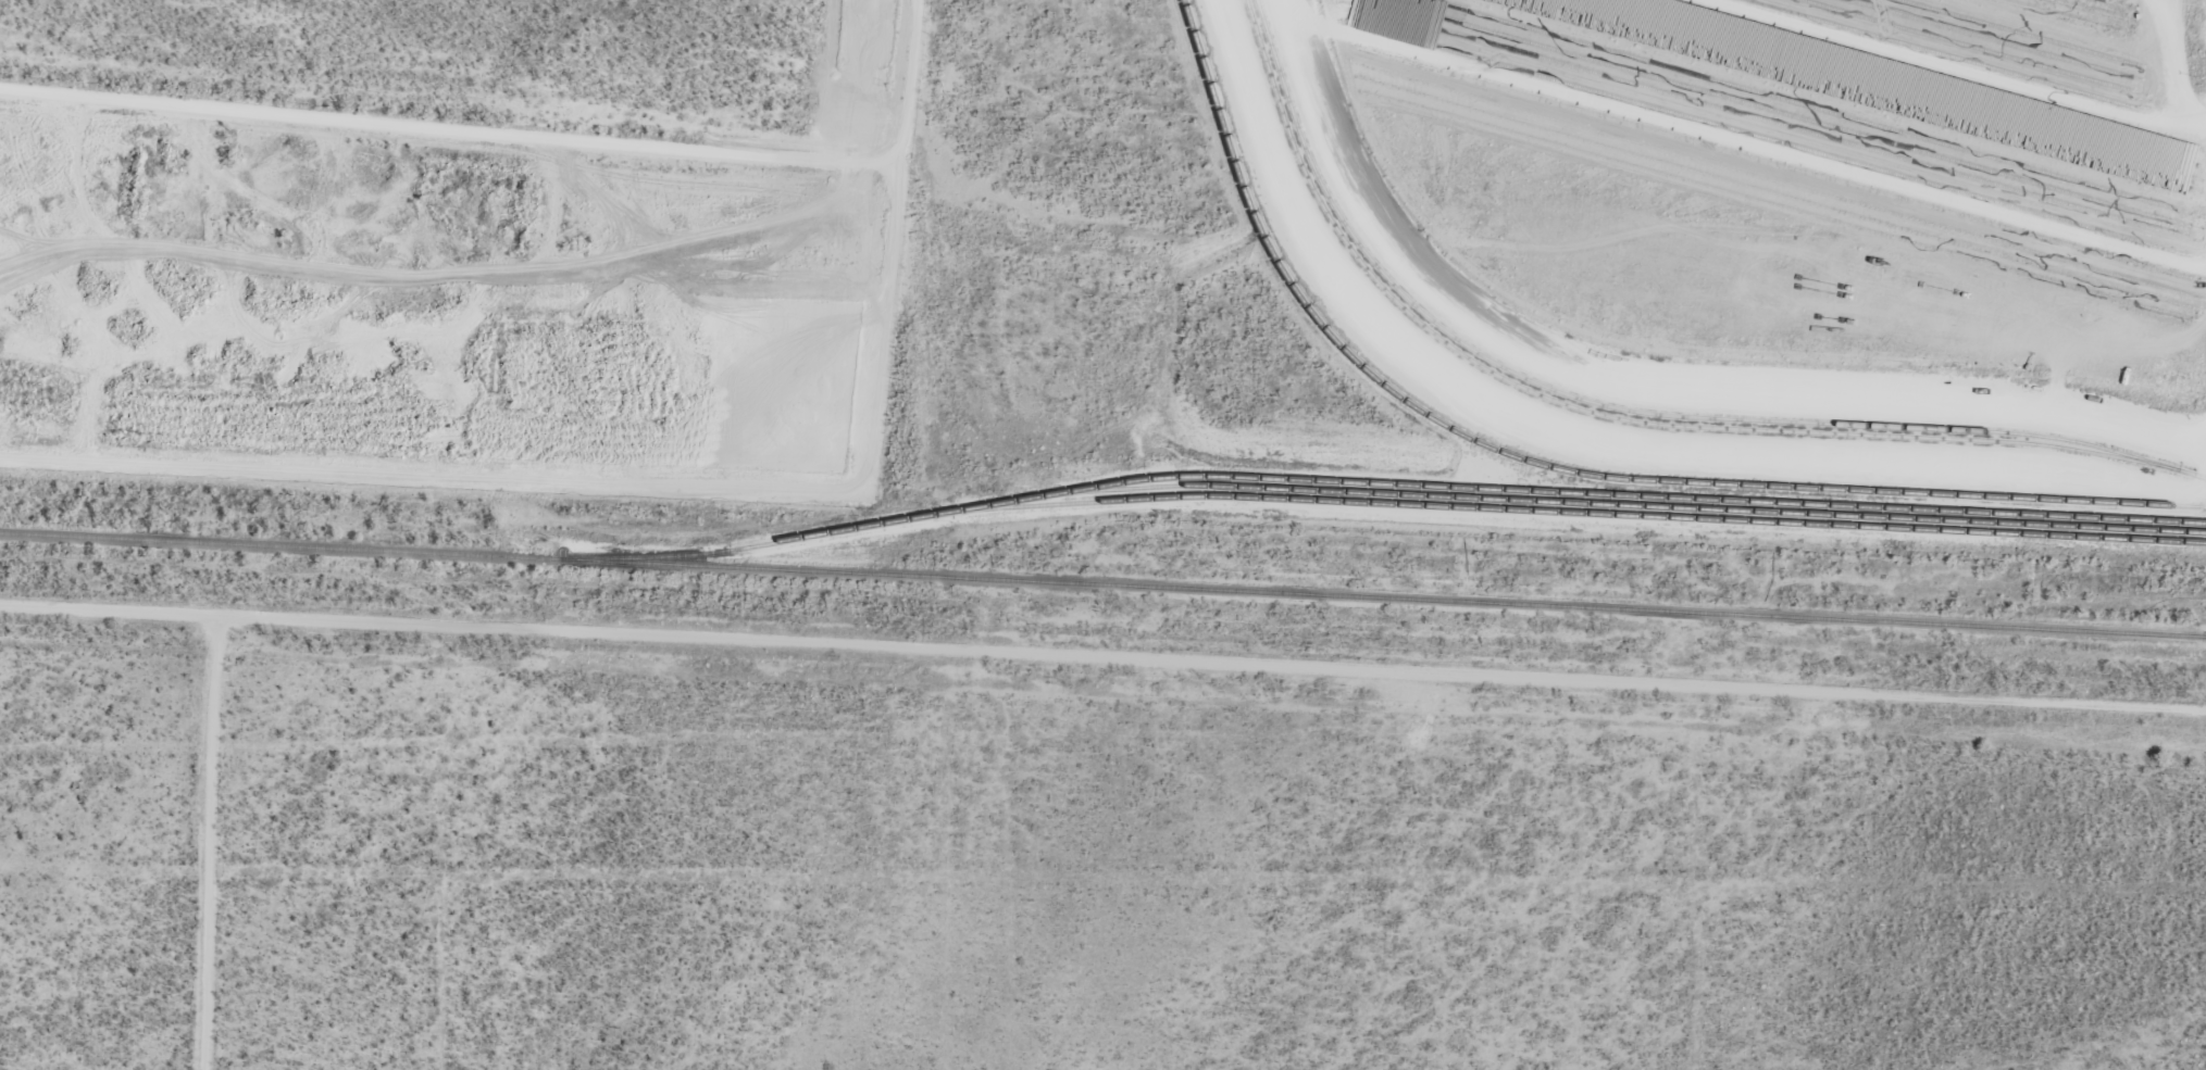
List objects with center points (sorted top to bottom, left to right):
railway: (1102, 584)
road: (1102, 658)
road: (213, 843)

